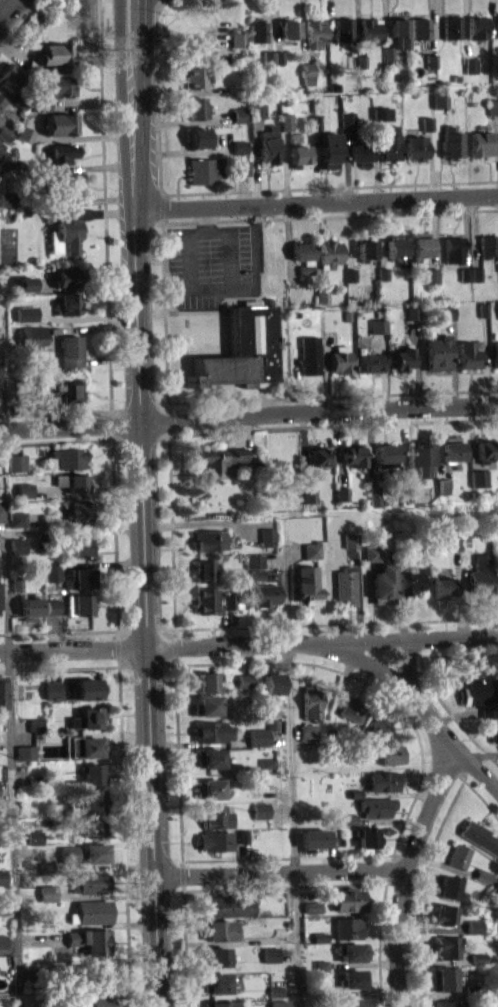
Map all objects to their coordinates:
road: (161, 1)
road: (162, 1)
road: (6, 8)
road: (330, 13)
road: (492, 18)
road: (18, 19)
road: (386, 22)
road: (270, 25)
road: (275, 25)
building: (420, 25)
building: (452, 25)
building: (497, 25)
road: (357, 26)
road: (432, 26)
building: (477, 26)
building: (289, 27)
building: (342, 27)
road: (464, 28)
building: (371, 29)
road: (119, 30)
road: (142, 30)
building: (258, 30)
road: (303, 31)
building: (399, 31)
building: (315, 32)
road: (186, 34)
building: (238, 38)
building: (237, 45)
building: (195, 47)
road: (18, 51)
building: (56, 53)
building: (388, 54)
building: (279, 57)
building: (268, 59)
building: (361, 59)
building: (432, 60)
building: (472, 65)
building: (309, 73)
building: (15, 74)
building: (195, 76)
building: (60, 83)
building: (237, 86)
road: (181, 89)
road: (7, 93)
building: (1, 99)
building: (21, 100)
building: (439, 100)
road: (91, 102)
building: (43, 103)
building: (493, 105)
building: (197, 106)
building: (1, 108)
building: (257, 109)
road: (159, 112)
building: (378, 113)
building: (240, 114)
building: (0, 117)
building: (347, 118)
building: (286, 120)
road: (183, 121)
building: (319, 121)
building: (60, 122)
building: (426, 122)
road: (496, 129)
building: (4, 132)
building: (26, 133)
building: (198, 135)
road: (80, 137)
building: (451, 141)
building: (481, 141)
building: (1, 143)
building: (389, 143)
building: (269, 145)
building: (239, 146)
building: (415, 147)
building: (329, 148)
building: (1, 151)
building: (61, 151)
building: (361, 151)
road: (183, 152)
road: (437, 152)
building: (298, 153)
road: (376, 160)
road: (255, 161)
road: (346, 163)
road: (430, 164)
road: (316, 165)
road: (285, 166)
road: (73, 167)
building: (241, 167)
building: (205, 169)
building: (65, 184)
road: (329, 186)
road: (242, 190)
building: (8, 198)
road: (75, 200)
road: (317, 202)
building: (8, 205)
road: (105, 205)
road: (105, 212)
road: (329, 215)
building: (63, 227)
road: (466, 231)
road: (473, 231)
road: (381, 232)
road: (435, 232)
road: (348, 234)
road: (288, 241)
building: (421, 244)
building: (488, 244)
road: (317, 245)
building: (395, 247)
building: (366, 248)
building: (454, 248)
building: (330, 252)
building: (303, 255)
parking lot: (212, 262)
road: (295, 269)
building: (383, 272)
building: (351, 273)
building: (464, 273)
building: (477, 273)
building: (432, 274)
building: (66, 275)
building: (26, 281)
building: (432, 281)
road: (200, 286)
road: (85, 287)
building: (25, 290)
building: (322, 294)
building: (69, 302)
building: (483, 308)
building: (445, 311)
building: (412, 312)
building: (30, 314)
building: (347, 315)
road: (87, 317)
building: (411, 319)
building: (28, 320)
road: (165, 321)
building: (378, 325)
road: (92, 327)
building: (378, 332)
building: (36, 335)
building: (71, 350)
building: (240, 350)
building: (437, 351)
building: (469, 353)
building: (494, 353)
building: (309, 354)
building: (402, 357)
road: (110, 358)
building: (340, 358)
road: (486, 359)
road: (452, 360)
building: (370, 361)
road: (416, 362)
road: (384, 369)
road: (327, 372)
building: (0, 383)
road: (299, 386)
building: (63, 390)
road: (333, 395)
road: (84, 410)
road: (55, 416)
road: (249, 416)
road: (112, 424)
road: (333, 424)
road: (238, 432)
road: (471, 437)
road: (15, 441)
road: (84, 441)
road: (438, 441)
road: (404, 445)
road: (371, 446)
building: (486, 447)
road: (336, 448)
building: (452, 448)
road: (304, 450)
building: (386, 453)
building: (354, 454)
building: (318, 456)
building: (420, 456)
building: (66, 457)
building: (221, 457)
building: (18, 462)
building: (478, 477)
building: (73, 480)
building: (443, 484)
building: (72, 488)
building: (26, 489)
building: (407, 492)
road: (88, 494)
building: (309, 494)
building: (344, 495)
building: (375, 495)
building: (82, 508)
building: (3, 512)
road: (40, 517)
building: (78, 517)
building: (18, 518)
road: (204, 523)
road: (72, 529)
road: (144, 532)
road: (172, 533)
road: (116, 534)
building: (269, 536)
building: (210, 538)
building: (352, 539)
building: (456, 541)
building: (18, 545)
building: (80, 546)
building: (313, 549)
building: (456, 549)
road: (294, 552)
building: (373, 552)
road: (274, 559)
building: (255, 560)
road: (103, 562)
building: (204, 569)
building: (53, 571)
building: (255, 574)
road: (274, 574)
building: (482, 575)
building: (81, 577)
building: (410, 580)
building: (17, 583)
building: (308, 583)
building: (384, 583)
building: (347, 584)
building: (445, 584)
road: (360, 593)
road: (459, 593)
building: (266, 595)
building: (205, 598)
building: (232, 600)
road: (370, 600)
road: (466, 600)
road: (16, 602)
building: (79, 603)
building: (52, 605)
building: (30, 607)
building: (232, 607)
building: (52, 613)
road: (404, 616)
road: (336, 622)
road: (128, 629)
road: (53, 631)
road: (59, 631)
road: (248, 643)
road: (460, 655)
road: (249, 658)
road: (410, 661)
road: (51, 665)
road: (59, 667)
building: (246, 680)
road: (343, 680)
building: (208, 681)
building: (273, 681)
road: (368, 682)
building: (246, 686)
building: (88, 687)
building: (52, 688)
building: (480, 690)
building: (3, 691)
building: (312, 703)
road: (422, 703)
building: (208, 704)
building: (352, 709)
building: (489, 711)
building: (263, 712)
road: (280, 713)
road: (403, 713)
road: (451, 713)
road: (458, 714)
building: (88, 716)
building: (488, 719)
building: (36, 723)
road: (5, 724)
building: (274, 724)
building: (376, 728)
building: (35, 730)
building: (214, 730)
building: (308, 731)
road: (295, 732)
building: (495, 733)
building: (260, 736)
road: (279, 737)
building: (87, 744)
road: (202, 744)
building: (27, 751)
building: (391, 753)
road: (479, 755)
building: (210, 756)
building: (26, 758)
road: (179, 759)
road: (283, 761)
building: (268, 762)
road: (291, 762)
road: (12, 769)
building: (268, 769)
building: (94, 772)
building: (37, 780)
building: (384, 780)
road: (21, 781)
building: (210, 787)
building: (270, 792)
building: (354, 792)
road: (396, 793)
building: (95, 797)
road: (482, 798)
building: (376, 805)
building: (61, 807)
road: (124, 808)
road: (111, 810)
building: (262, 810)
road: (281, 810)
building: (216, 815)
building: (350, 818)
road: (391, 820)
building: (95, 826)
building: (256, 833)
building: (243, 835)
building: (368, 836)
building: (479, 836)
building: (36, 837)
building: (316, 837)
building: (216, 840)
building: (340, 840)
building: (86, 852)
building: (459, 854)
road: (287, 856)
road: (331, 856)
road: (243, 857)
road: (444, 865)
building: (48, 866)
road: (105, 866)
road: (390, 867)
road: (281, 871)
building: (483, 873)
road: (424, 874)
road: (405, 875)
building: (4, 877)
building: (92, 882)
building: (497, 883)
road: (246, 884)
road: (285, 886)
building: (451, 886)
road: (421, 889)
building: (48, 892)
building: (496, 893)
road: (106, 895)
building: (349, 898)
building: (229, 905)
road: (300, 906)
building: (312, 906)
building: (92, 912)
building: (446, 912)
building: (311, 913)
road: (135, 923)
building: (474, 925)
building: (495, 925)
building: (348, 927)
road: (432, 927)
building: (218, 928)
building: (473, 932)
building: (319, 937)
road: (43, 938)
building: (92, 939)
building: (3, 940)
road: (184, 940)
road: (227, 941)
road: (380, 944)
building: (447, 945)
building: (352, 951)
building: (270, 953)
building: (214, 956)
building: (478, 957)
building: (270, 961)
road: (434, 962)
building: (319, 964)
road: (361, 964)
building: (83, 972)
building: (353, 977)
building: (443, 977)
building: (216, 982)
building: (276, 990)
road: (290, 990)
road: (370, 992)
building: (472, 993)
road: (432, 994)
building: (275, 997)
building: (44, 1001)
building: (99, 1001)
building: (355, 1002)
building: (448, 1002)
building: (222, 1003)
building: (280, 1003)

